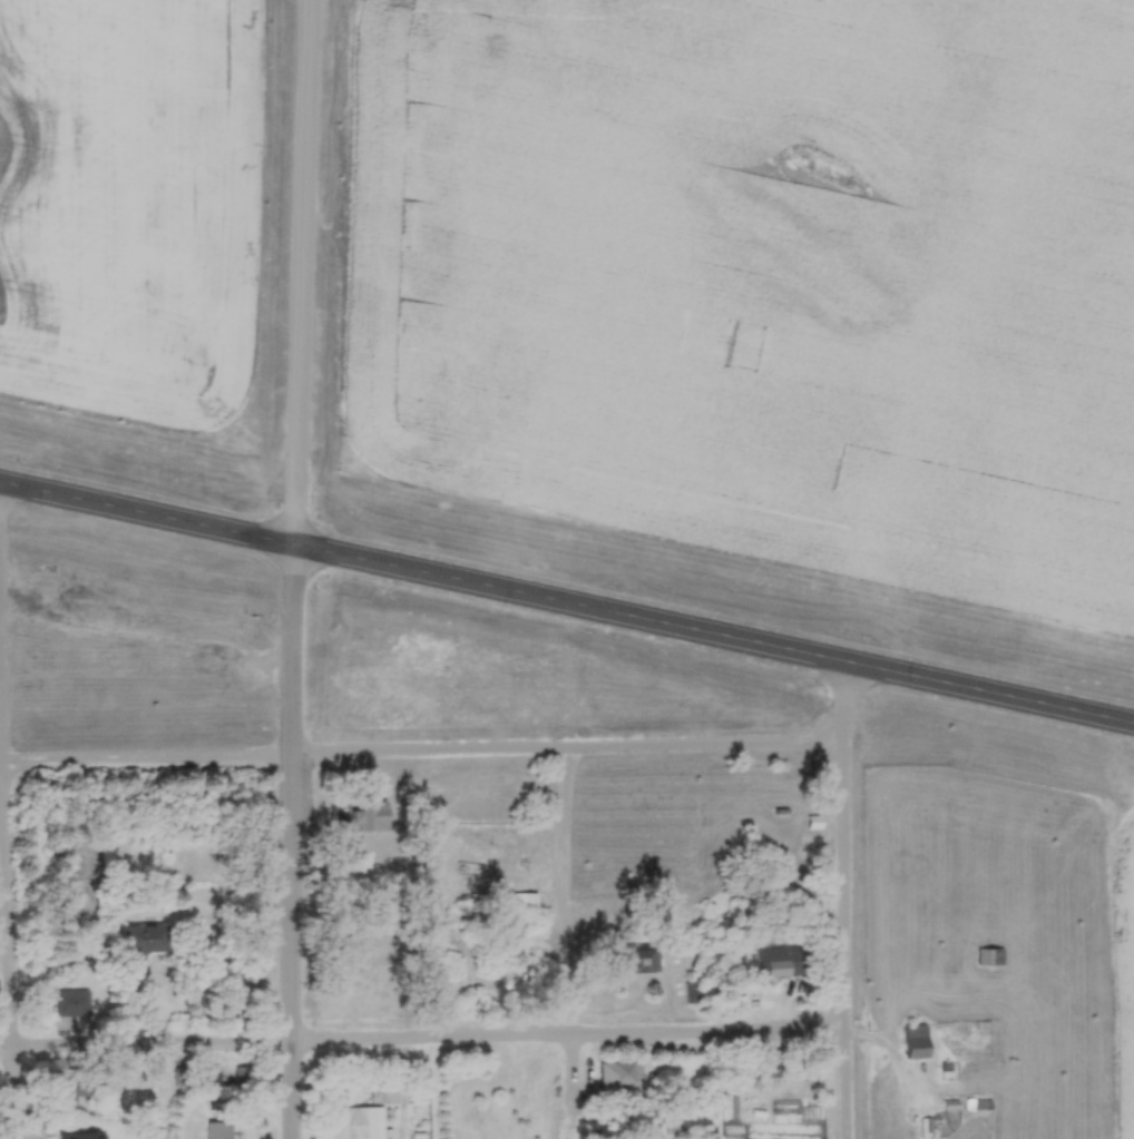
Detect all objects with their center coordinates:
road: (303, 274)
road: (567, 605)
road: (292, 654)
road: (702, 750)
road: (280, 759)
road: (1, 763)
building: (361, 815)
building: (810, 821)
building: (471, 834)
building: (468, 866)
road: (6, 871)
road: (557, 897)
building: (531, 900)
road: (848, 902)
building: (136, 937)
road: (293, 949)
building: (988, 955)
building: (639, 960)
building: (772, 966)
building: (692, 990)
building: (913, 1039)
road: (429, 1041)
road: (6, 1051)
building: (769, 1063)
building: (614, 1074)
building: (212, 1076)
building: (246, 1077)
building: (812, 1083)
building: (65, 1091)
building: (978, 1102)
building: (355, 1122)
building: (219, 1129)
building: (75, 1135)

